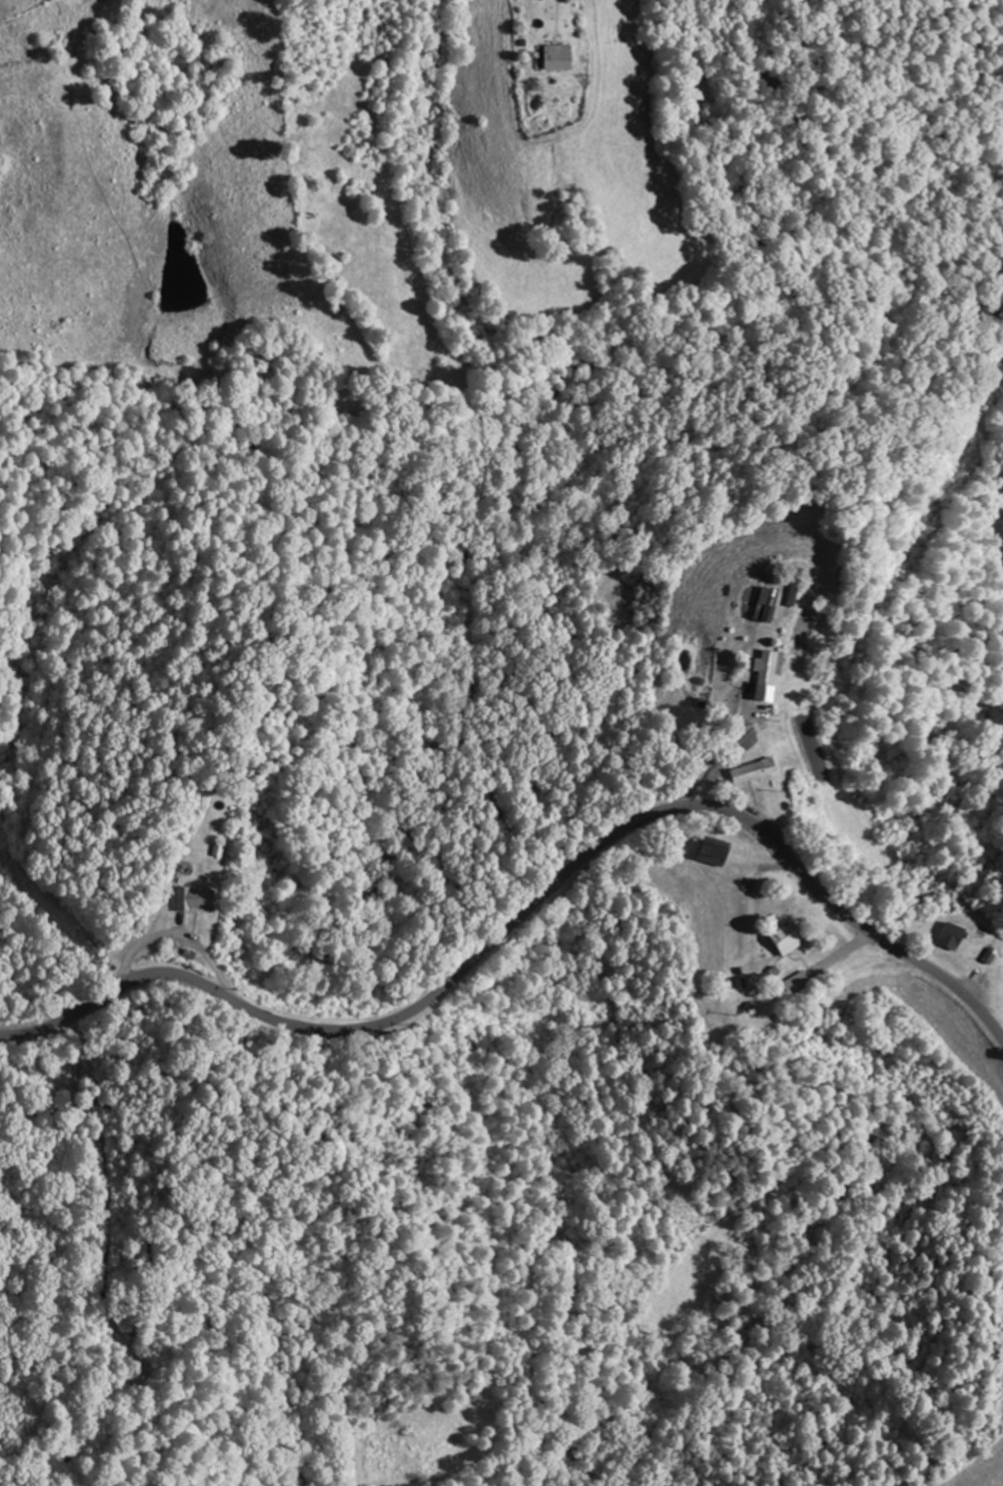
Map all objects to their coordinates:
road: (252, 0)
building: (550, 57)
building: (785, 587)
building: (759, 606)
building: (758, 676)
road: (570, 768)
building: (746, 771)
building: (708, 852)
building: (188, 901)
road: (529, 906)
building: (942, 937)
building: (778, 941)
building: (76, 1074)

